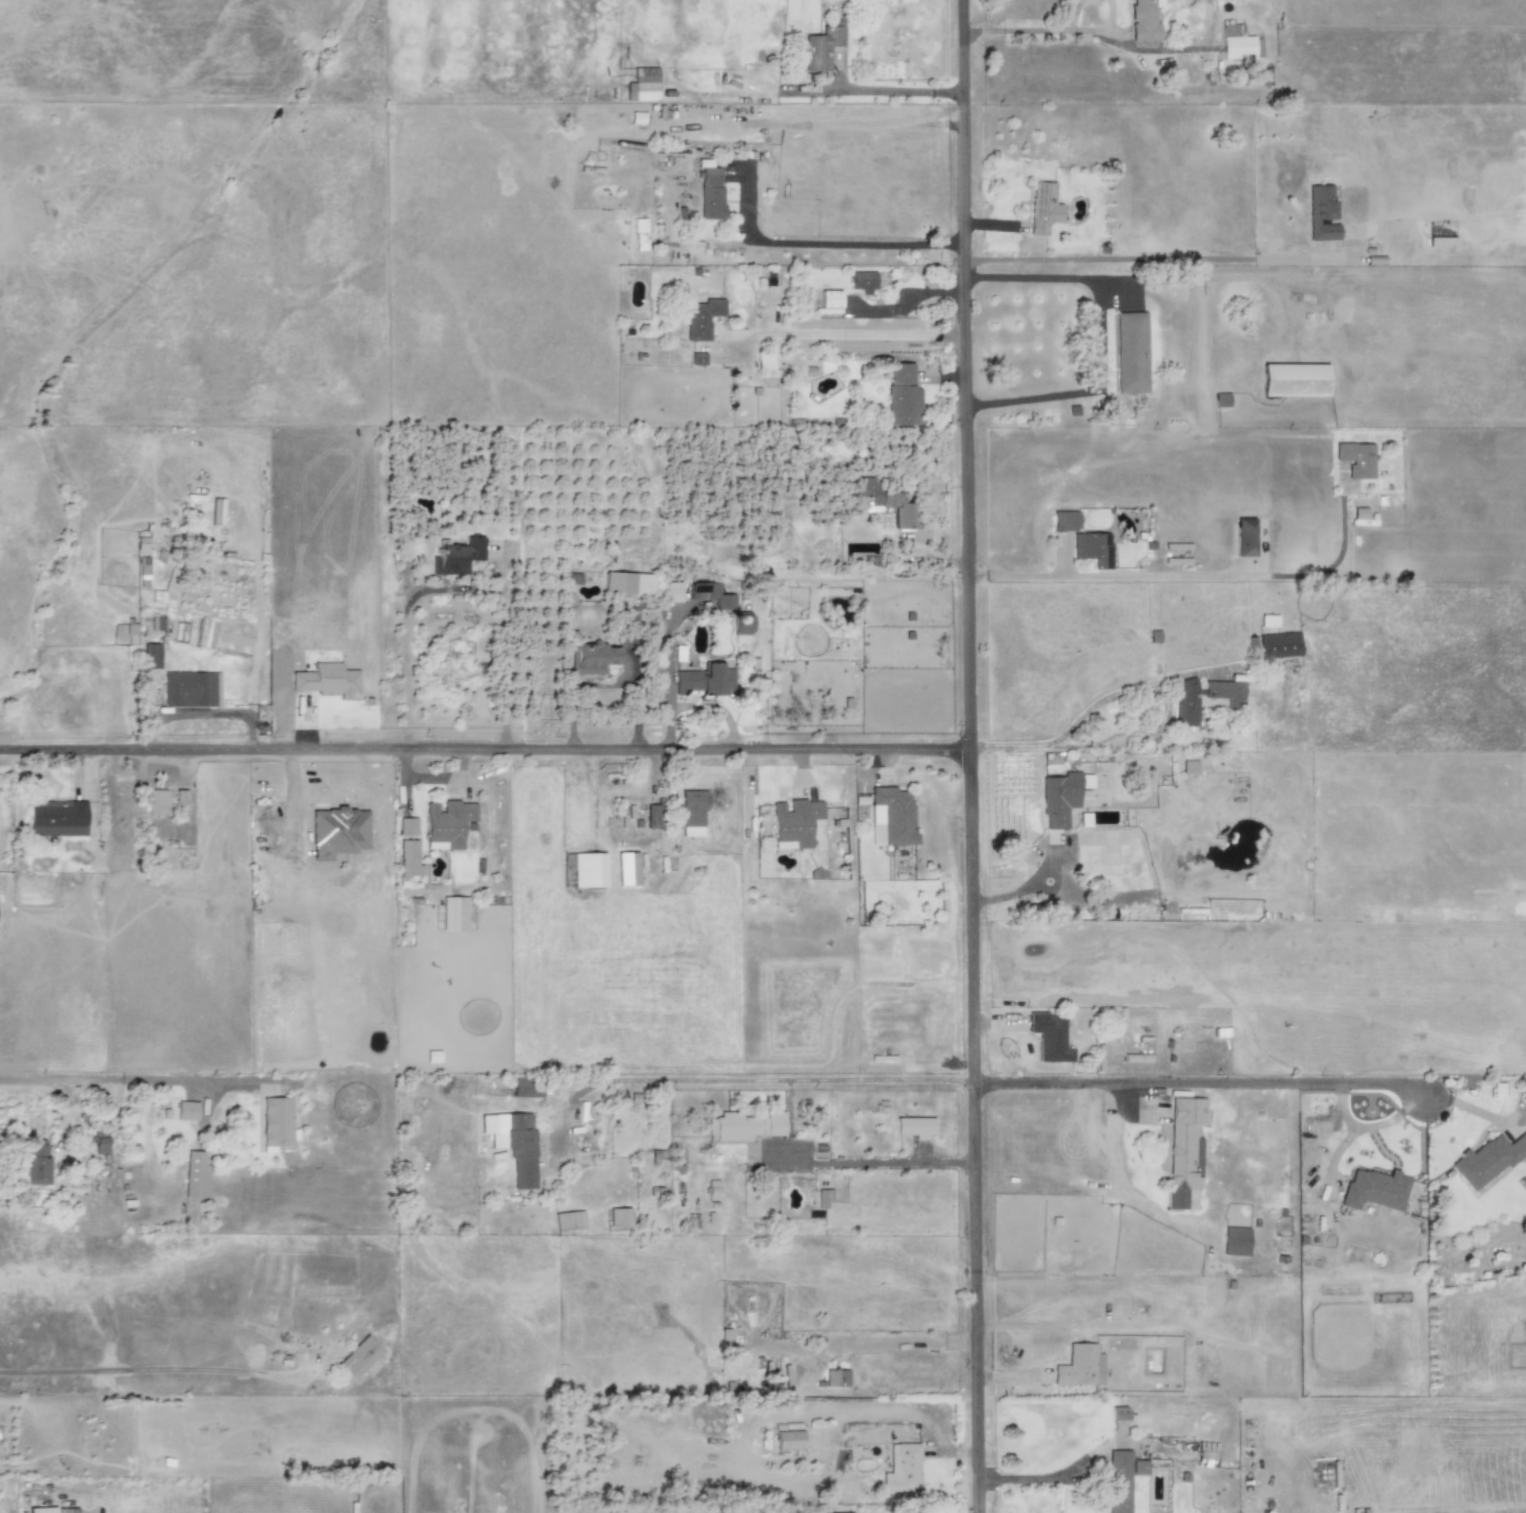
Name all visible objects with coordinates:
building: (906, 1)
road: (958, 14)
road: (1070, 14)
building: (1144, 20)
road: (1011, 28)
road: (1097, 29)
building: (1239, 43)
building: (822, 45)
building: (642, 88)
road: (822, 94)
building: (637, 118)
building: (710, 193)
building: (1043, 208)
building: (1321, 213)
building: (1441, 242)
road: (825, 244)
road: (1165, 257)
road: (1084, 278)
building: (862, 282)
building: (830, 298)
building: (701, 318)
road: (859, 333)
building: (1131, 353)
building: (697, 358)
building: (764, 364)
building: (1293, 380)
building: (902, 396)
road: (1028, 398)
building: (1221, 400)
building: (1355, 459)
building: (886, 502)
building: (1362, 517)
building: (1064, 520)
building: (1244, 537)
building: (1092, 548)
road: (1100, 576)
building: (573, 578)
building: (627, 584)
road: (455, 589)
building: (672, 592)
building: (710, 595)
building: (1268, 621)
building: (157, 623)
building: (740, 624)
building: (131, 634)
building: (1279, 645)
building: (151, 656)
building: (592, 657)
building: (705, 680)
road: (1129, 687)
road: (572, 688)
building: (188, 689)
building: (1223, 690)
road: (634, 699)
building: (1185, 703)
building: (261, 712)
road: (483, 753)
building: (1189, 766)
road: (966, 771)
building: (180, 796)
building: (1063, 797)
building: (156, 801)
building: (691, 813)
building: (893, 815)
building: (652, 816)
building: (57, 818)
building: (794, 823)
building: (446, 824)
building: (407, 826)
building: (408, 858)
building: (567, 861)
building: (626, 868)
building: (588, 870)
building: (454, 913)
building: (1048, 1037)
building: (433, 1056)
road: (123, 1079)
road: (742, 1081)
road: (1202, 1081)
building: (526, 1087)
building: (187, 1111)
building: (276, 1121)
building: (772, 1123)
building: (732, 1127)
building: (914, 1127)
building: (101, 1141)
building: (513, 1143)
building: (1184, 1149)
building: (1487, 1159)
road: (845, 1160)
building: (35, 1163)
building: (196, 1174)
building: (1374, 1189)
building: (712, 1190)
building: (823, 1197)
building: (619, 1217)
building: (569, 1220)
building: (1235, 1241)
building: (724, 1336)
road: (861, 1346)
building: (361, 1358)
building: (1076, 1365)
building: (1098, 1367)
road: (152, 1368)
building: (836, 1378)
building: (1119, 1413)
building: (788, 1440)
building: (1205, 1454)
building: (1139, 1467)
building: (901, 1469)
road: (1050, 1479)
building: (1118, 1481)
building: (41, 1510)

